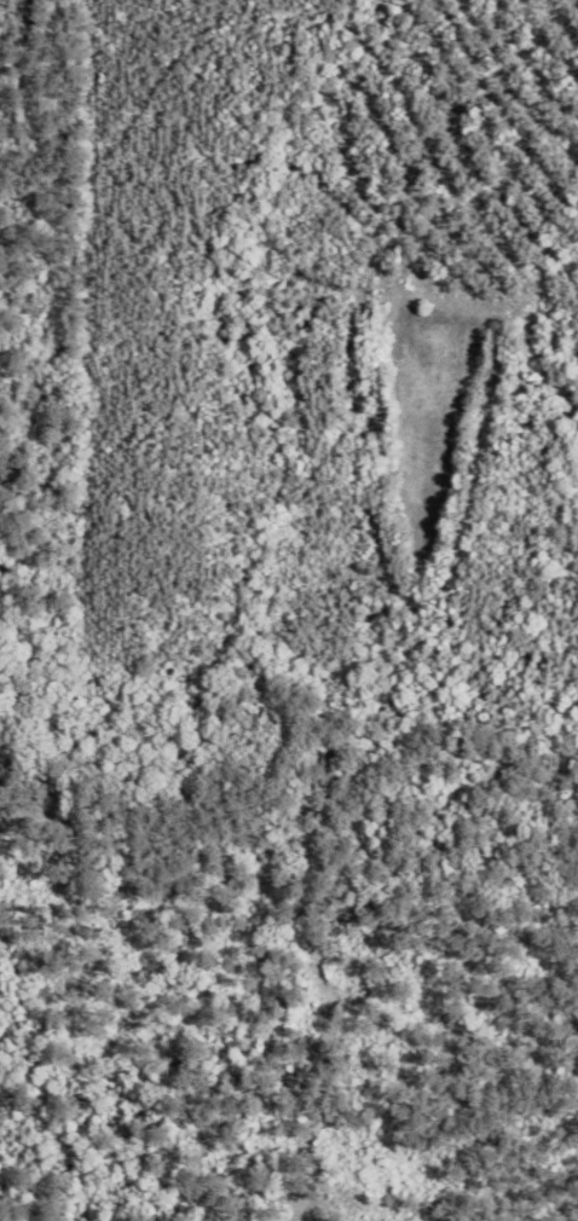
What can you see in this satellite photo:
road: (331, 978)

